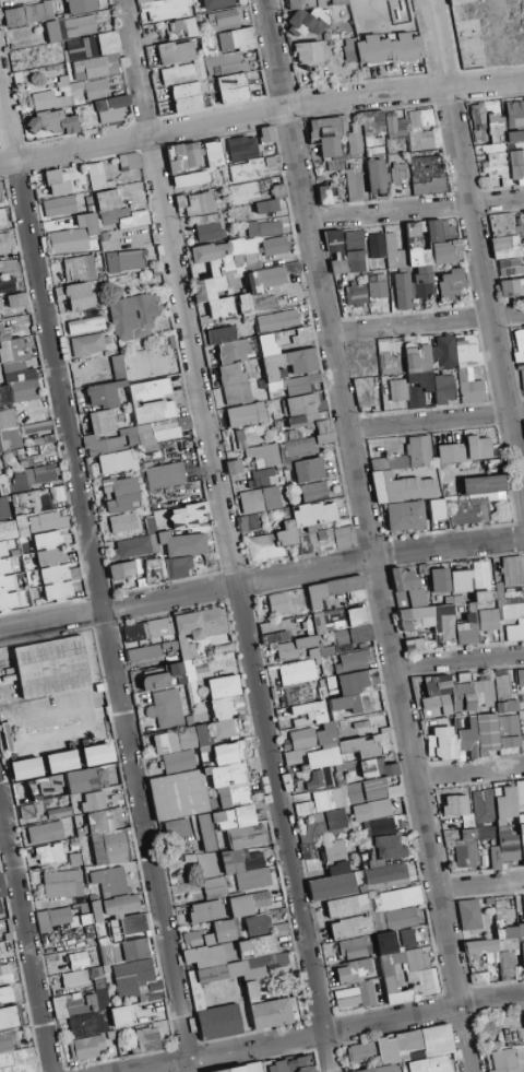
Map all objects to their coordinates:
building: (14, 0)
building: (19, 0)
building: (160, 0)
building: (145, 1)
building: (341, 2)
building: (216, 3)
building: (308, 3)
building: (321, 3)
building: (61, 4)
building: (294, 4)
building: (82, 5)
building: (167, 9)
building: (286, 9)
building: (190, 10)
building: (40, 12)
building: (62, 12)
building: (15, 16)
building: (63, 16)
building: (297, 17)
building: (213, 20)
building: (309, 21)
building: (320, 21)
building: (227, 22)
building: (352, 22)
building: (17, 26)
building: (81, 26)
building: (188, 26)
building: (289, 26)
building: (63, 31)
building: (299, 31)
building: (53, 32)
building: (175, 32)
building: (325, 36)
building: (97, 37)
building: (254, 37)
building: (233, 39)
building: (249, 39)
building: (109, 43)
building: (198, 43)
building: (332, 43)
road: (436, 43)
building: (36, 45)
building: (82, 48)
building: (390, 49)
building: (309, 51)
building: (352, 51)
building: (177, 52)
building: (67, 56)
building: (421, 57)
building: (115, 58)
building: (362, 62)
building: (394, 62)
building: (228, 63)
road: (134, 66)
building: (394, 66)
building: (94, 67)
building: (200, 68)
building: (115, 69)
building: (154, 71)
building: (179, 74)
building: (19, 76)
building: (81, 76)
building: (205, 76)
building: (72, 81)
building: (233, 87)
building: (98, 90)
building: (65, 93)
building: (79, 93)
building: (188, 95)
building: (45, 101)
building: (80, 116)
road: (7, 121)
building: (372, 122)
building: (413, 127)
building: (265, 133)
building: (325, 136)
building: (354, 140)
building: (491, 142)
building: (213, 153)
building: (183, 156)
building: (243, 156)
building: (130, 161)
building: (516, 165)
building: (398, 173)
building: (97, 175)
building: (376, 176)
building: (190, 178)
building: (58, 181)
building: (354, 186)
building: (243, 192)
building: (324, 195)
building: (194, 203)
building: (59, 205)
building: (266, 205)
building: (118, 211)
building: (523, 214)
building: (2, 219)
building: (87, 223)
building: (263, 227)
building: (209, 231)
building: (68, 240)
building: (274, 245)
building: (376, 245)
building: (507, 245)
building: (4, 246)
building: (390, 249)
building: (428, 251)
building: (343, 255)
building: (123, 260)
building: (79, 268)
building: (221, 271)
building: (7, 283)
building: (451, 283)
building: (512, 287)
building: (263, 288)
building: (377, 288)
building: (402, 291)
building: (75, 295)
building: (356, 295)
building: (16, 299)
building: (132, 314)
building: (277, 319)
building: (85, 325)
building: (87, 344)
building: (519, 344)
building: (286, 354)
building: (230, 362)
building: (416, 363)
building: (468, 367)
building: (522, 380)
building: (298, 382)
building: (12, 386)
building: (107, 387)
building: (443, 388)
building: (397, 389)
building: (364, 391)
building: (136, 400)
building: (246, 414)
building: (306, 424)
building: (98, 432)
building: (158, 432)
building: (247, 435)
building: (478, 447)
building: (450, 452)
building: (263, 455)
building: (406, 456)
building: (116, 461)
building: (234, 466)
building: (308, 470)
building: (46, 473)
building: (165, 475)
building: (260, 478)
building: (401, 487)
building: (313, 491)
building: (121, 494)
building: (475, 497)
building: (260, 499)
building: (3, 508)
building: (437, 509)
building: (187, 514)
building: (405, 516)
building: (47, 521)
building: (123, 522)
building: (248, 522)
building: (22, 525)
building: (8, 530)
building: (301, 533)
road: (368, 535)
building: (182, 543)
building: (131, 546)
building: (177, 567)
building: (512, 570)
building: (136, 573)
building: (439, 579)
building: (460, 580)
building: (480, 580)
building: (56, 582)
building: (11, 586)
building: (406, 586)
building: (335, 590)
building: (278, 603)
building: (488, 620)
building: (327, 621)
building: (429, 621)
building: (520, 622)
building: (358, 624)
building: (266, 628)
building: (146, 629)
building: (466, 629)
building: (340, 636)
building: (275, 638)
building: (422, 643)
building: (293, 647)
building: (187, 648)
building: (143, 652)
building: (354, 660)
building: (51, 667)
building: (297, 672)
building: (520, 676)
building: (155, 681)
building: (223, 686)
building: (502, 686)
building: (295, 692)
building: (355, 693)
building: (450, 694)
building: (505, 706)
building: (166, 707)
building: (523, 709)
building: (308, 714)
building: (223, 717)
building: (486, 733)
building: (516, 733)
building: (301, 738)
building: (467, 738)
building: (441, 742)
building: (228, 752)
building: (98, 754)
building: (327, 755)
building: (61, 761)
building: (202, 764)
building: (376, 767)
building: (25, 768)
building: (85, 780)
building: (48, 786)
building: (93, 800)
building: (183, 802)
building: (454, 805)
building: (32, 808)
building: (305, 808)
building: (370, 810)
building: (234, 817)
building: (501, 824)
building: (378, 825)
building: (175, 828)
building: (319, 829)
building: (45, 832)
building: (246, 836)
building: (451, 836)
building: (106, 839)
building: (469, 845)
building: (390, 846)
building: (49, 853)
building: (369, 861)
building: (237, 867)
building: (333, 873)
building: (384, 876)
building: (108, 879)
building: (62, 883)
building: (214, 886)
building: (1, 887)
building: (400, 898)
building: (248, 903)
building: (347, 906)
building: (523, 907)
building: (0, 909)
building: (205, 910)
building: (96, 911)
building: (502, 911)
building: (126, 912)
building: (468, 914)
building: (400, 918)
building: (58, 919)
building: (255, 923)
building: (350, 927)
building: (224, 930)
building: (190, 936)
building: (1, 947)
building: (130, 950)
building: (79, 959)
building: (5, 974)

